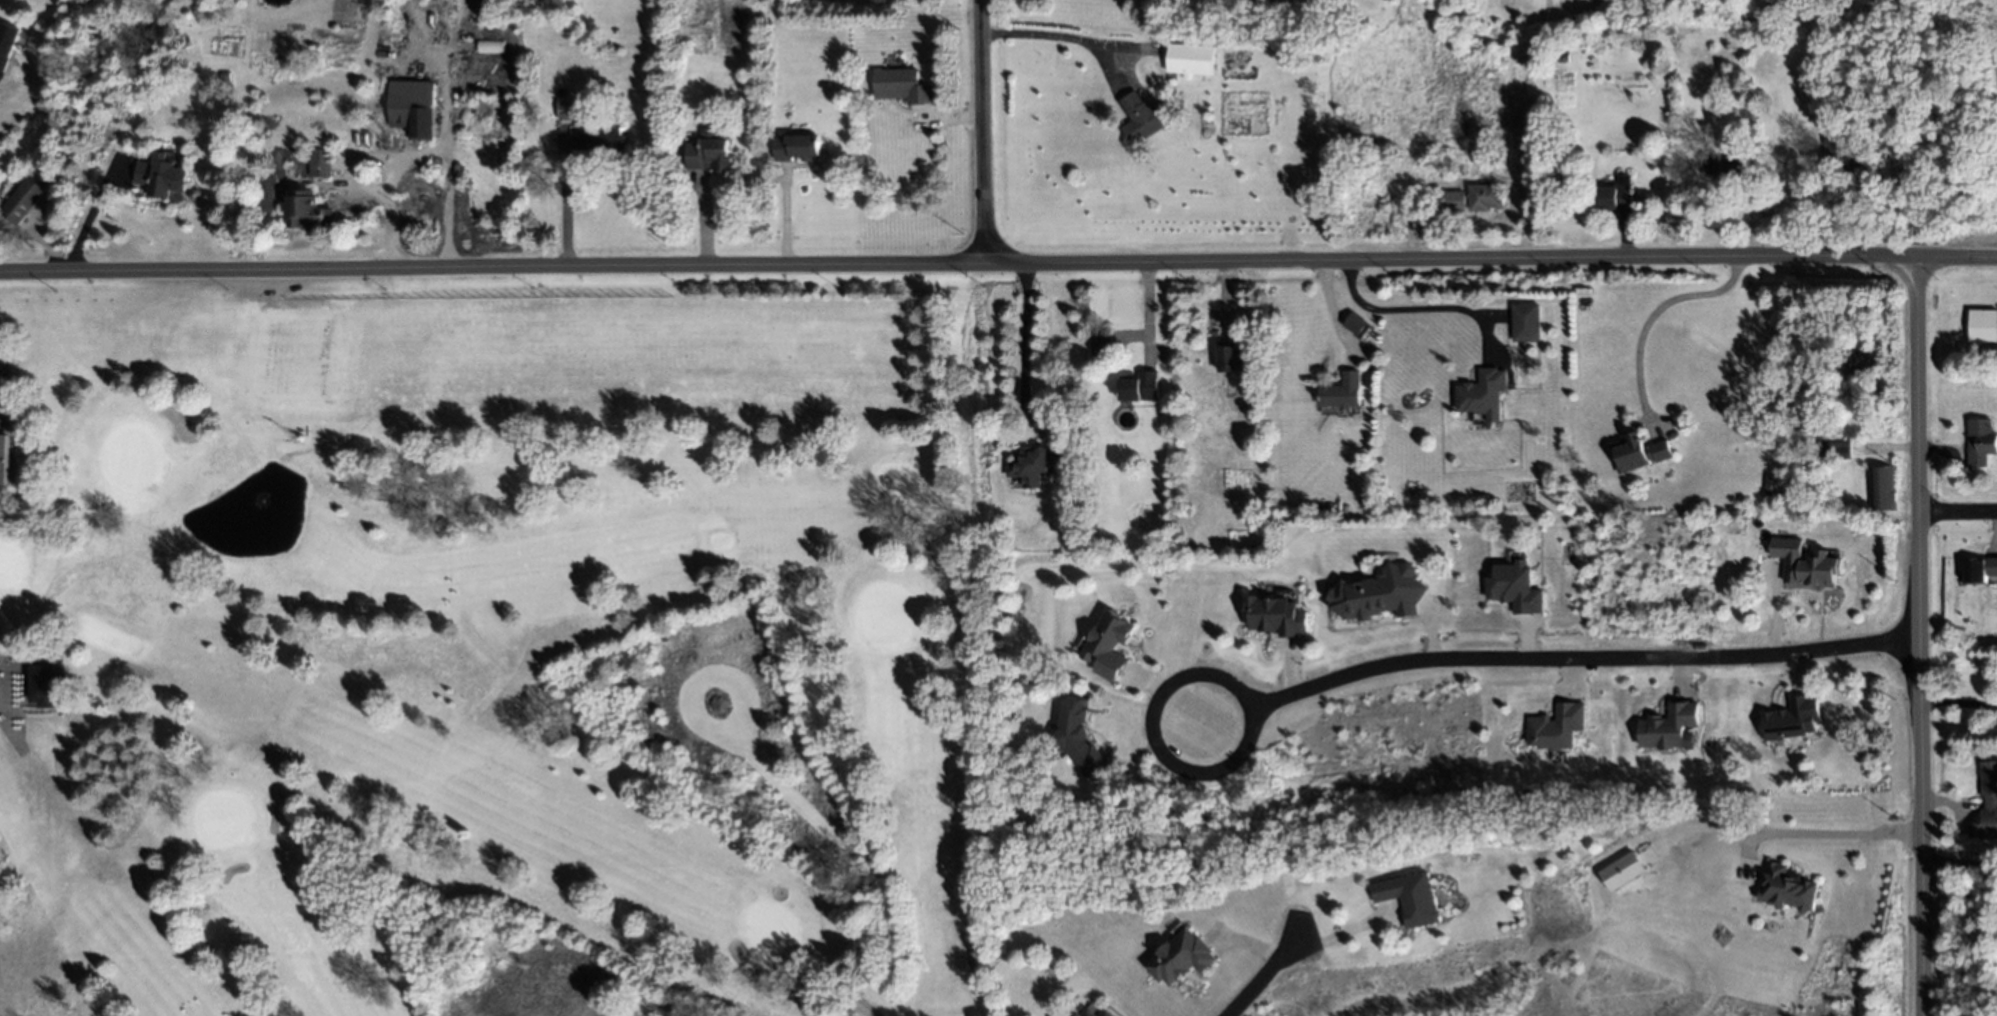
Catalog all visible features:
building: (1198, 1)
road: (1052, 33)
building: (7, 42)
building: (490, 46)
building: (1191, 58)
building: (1563, 58)
building: (225, 76)
building: (904, 85)
building: (415, 106)
building: (567, 108)
building: (1140, 117)
road: (985, 131)
building: (601, 135)
building: (1845, 144)
building: (796, 145)
building: (709, 150)
building: (1445, 161)
building: (321, 163)
road: (384, 163)
building: (1732, 169)
building: (161, 175)
building: (1617, 195)
building: (1485, 196)
road: (565, 197)
building: (22, 199)
building: (1454, 200)
building: (309, 210)
road: (998, 263)
road: (1419, 307)
road: (1146, 314)
road: (1660, 315)
building: (1526, 321)
building: (1356, 322)
building: (1983, 327)
road: (1025, 332)
building: (1104, 339)
building: (1233, 357)
building: (1862, 361)
parking lot: (3, 380)
building: (1139, 386)
building: (1342, 390)
building: (1483, 394)
road: (0, 403)
building: (1981, 442)
building: (1832, 450)
building: (1637, 452)
building: (6, 458)
building: (1039, 464)
building: (1773, 483)
road: (50, 485)
building: (1881, 488)
road: (38, 497)
road: (908, 505)
road: (1959, 512)
building: (1806, 562)
building: (1977, 570)
building: (1516, 584)
building: (1381, 591)
road: (1776, 592)
building: (1275, 616)
road: (1922, 635)
building: (1110, 646)
park: (490, 655)
road: (1584, 657)
road: (1231, 677)
building: (46, 683)
road: (1959, 705)
building: (1793, 719)
building: (1673, 722)
building: (1558, 728)
road: (10, 731)
building: (1081, 733)
building: (1988, 783)
road: (1823, 832)
road: (1960, 862)
building: (1621, 872)
building: (1784, 888)
building: (1412, 898)
building: (1186, 954)
road: (1263, 976)
road: (978, 981)
road: (856, 994)
building: (1097, 1012)

